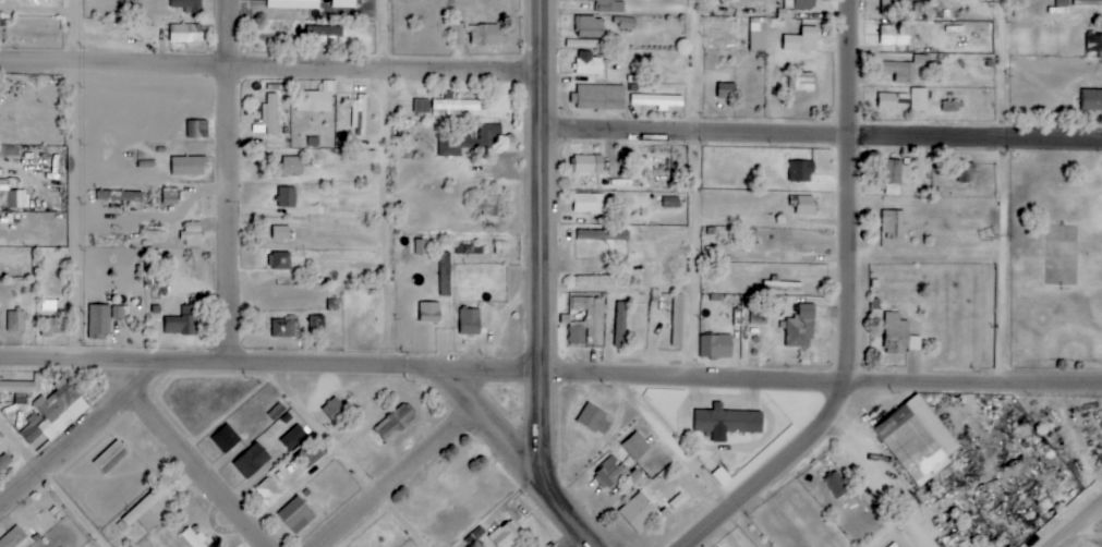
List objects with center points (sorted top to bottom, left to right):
building: (1087, 2)
building: (343, 3)
building: (293, 4)
building: (803, 4)
building: (187, 5)
building: (607, 5)
building: (893, 8)
building: (590, 27)
building: (184, 34)
building: (324, 34)
building: (458, 34)
building: (484, 35)
building: (895, 35)
building: (759, 37)
building: (802, 40)
building: (1094, 44)
building: (589, 63)
building: (905, 69)
road: (275, 71)
building: (802, 82)
building: (727, 90)
building: (601, 98)
building: (317, 99)
building: (919, 100)
building: (1092, 100)
building: (657, 101)
building: (891, 101)
building: (459, 106)
building: (950, 107)
building: (423, 108)
building: (271, 114)
building: (197, 130)
road: (826, 132)
building: (469, 141)
building: (589, 165)
building: (290, 166)
building: (189, 167)
building: (802, 171)
building: (966, 175)
building: (893, 178)
road: (84, 181)
road: (238, 183)
road: (390, 184)
road: (699, 190)
road: (998, 191)
building: (120, 196)
building: (170, 196)
building: (11, 197)
building: (287, 197)
building: (589, 204)
building: (485, 205)
building: (803, 205)
road: (845, 208)
building: (894, 224)
building: (281, 233)
building: (192, 234)
building: (603, 235)
power tower: (985, 238)
building: (421, 247)
building: (280, 262)
building: (155, 270)
building: (445, 275)
building: (602, 281)
road: (549, 284)
building: (48, 306)
building: (429, 313)
building: (185, 319)
building: (677, 320)
building: (16, 323)
building: (98, 323)
building: (470, 323)
building: (588, 323)
building: (317, 325)
building: (620, 325)
building: (50, 327)
building: (801, 328)
building: (896, 335)
building: (716, 347)
road: (270, 366)
road: (133, 379)
road: (821, 384)
building: (17, 387)
building: (334, 409)
building: (276, 411)
building: (55, 413)
building: (594, 421)
building: (727, 421)
building: (395, 422)
road: (488, 428)
building: (293, 437)
building: (226, 438)
building: (917, 439)
road: (674, 442)
building: (635, 446)
road: (66, 453)
building: (310, 453)
building: (110, 458)
road: (344, 458)
building: (4, 460)
building: (252, 461)
road: (197, 470)
building: (609, 472)
road: (391, 477)
road: (754, 481)
road: (884, 481)
road: (55, 483)
building: (836, 484)
building: (267, 491)
building: (145, 511)
building: (640, 512)
building: (296, 514)
road: (1078, 525)
building: (507, 535)
building: (13, 538)
building: (193, 538)

